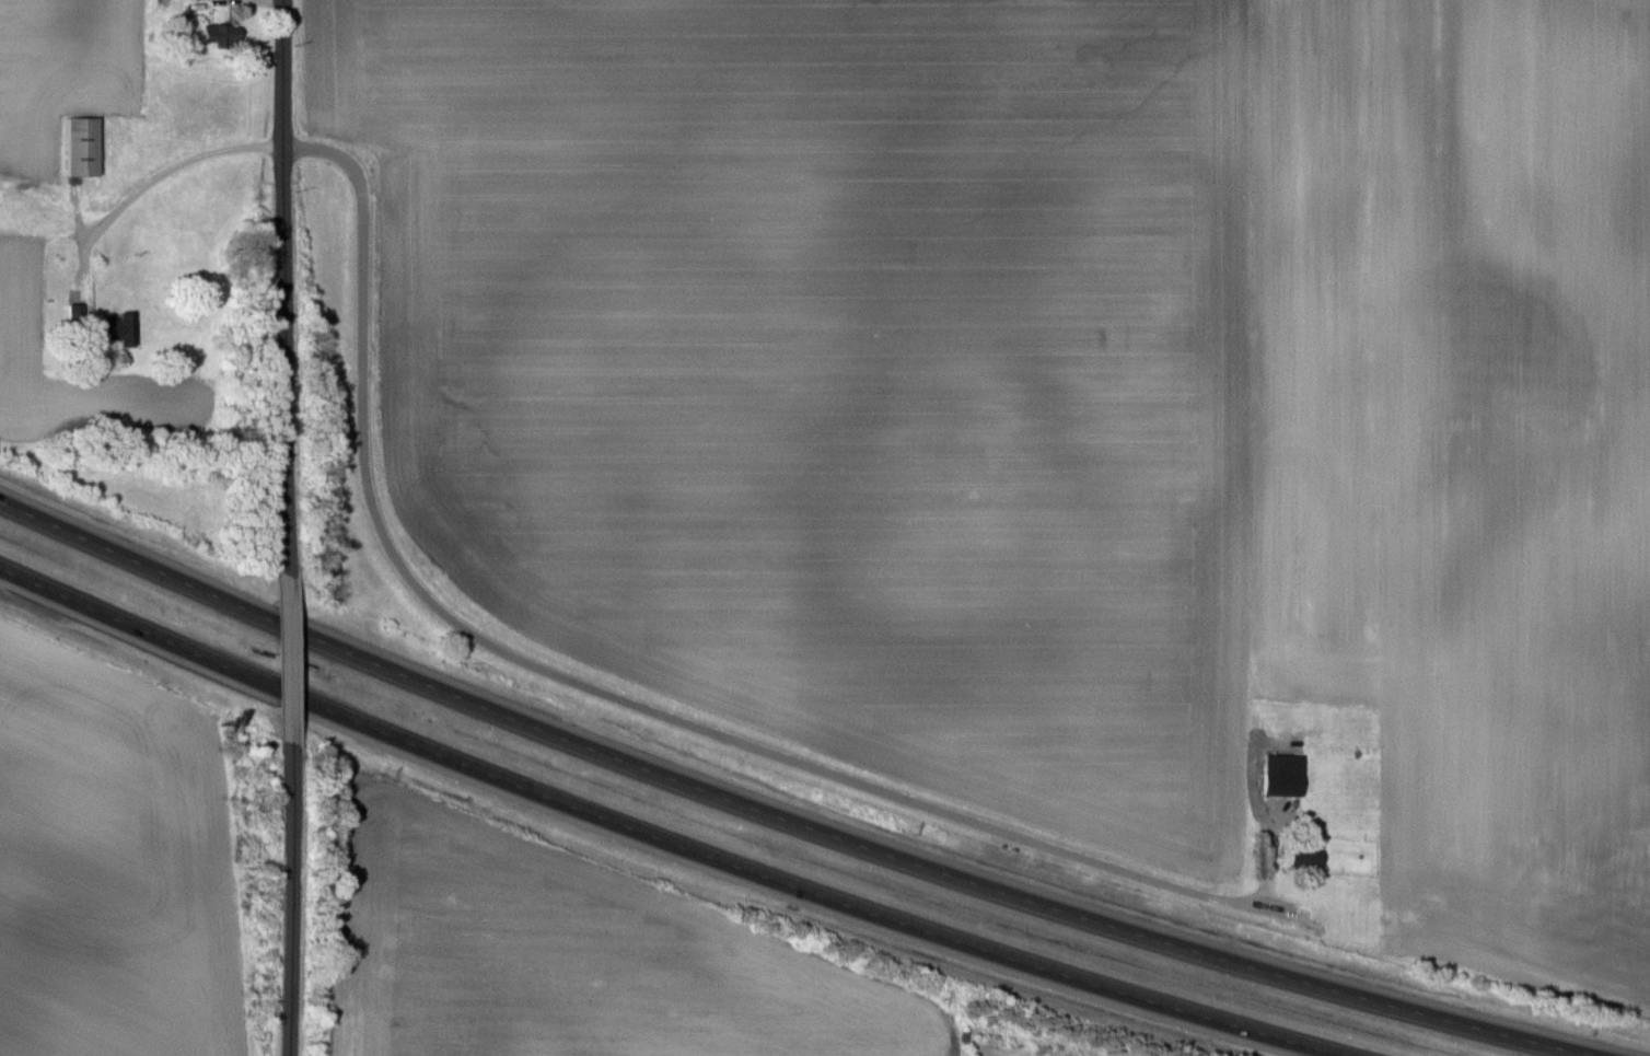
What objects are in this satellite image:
building: (223, 34)
building: (83, 146)
road: (155, 179)
road: (280, 286)
building: (116, 328)
road: (277, 658)
road: (605, 696)
building: (1283, 774)
road: (780, 819)
road: (658, 837)
building: (1306, 858)
road: (282, 900)

